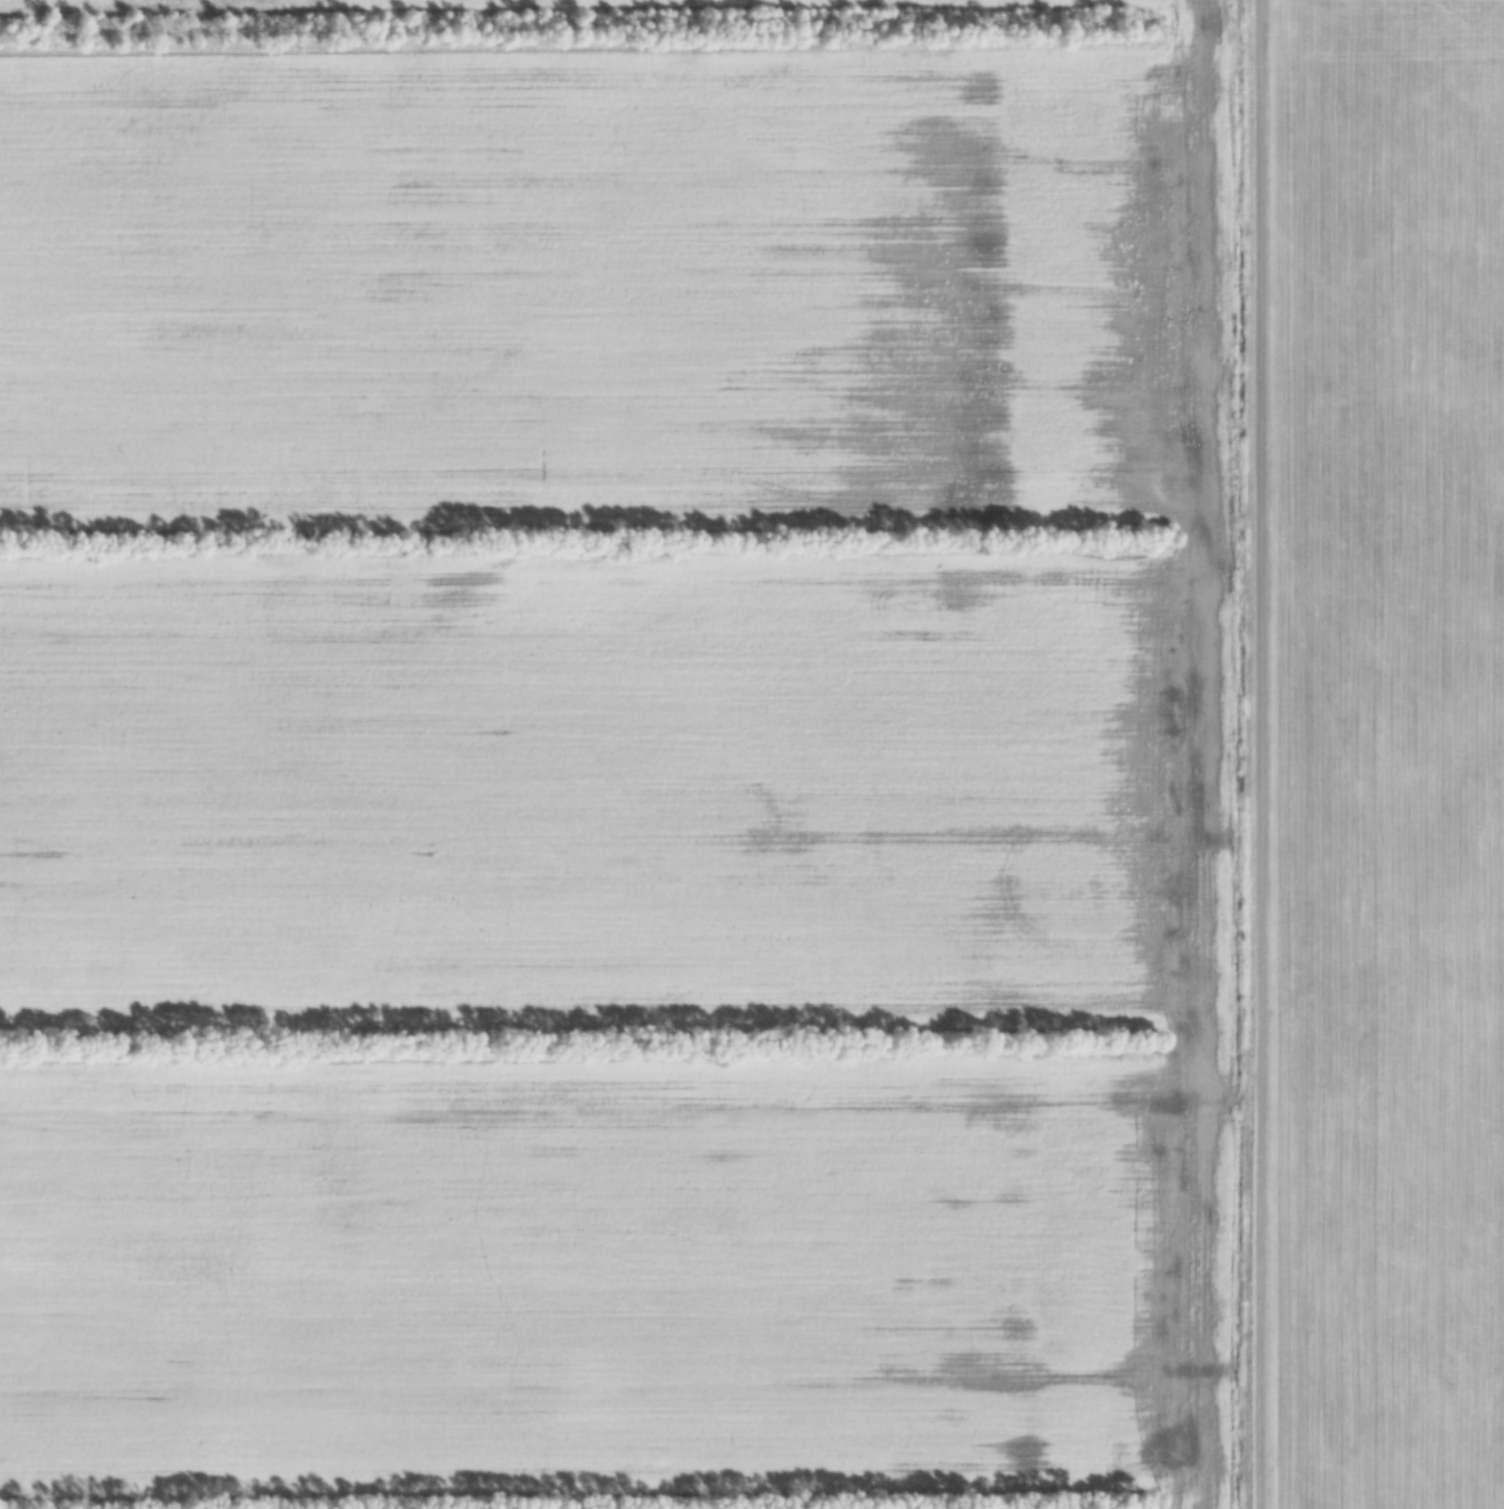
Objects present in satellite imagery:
road: (1262, 754)

